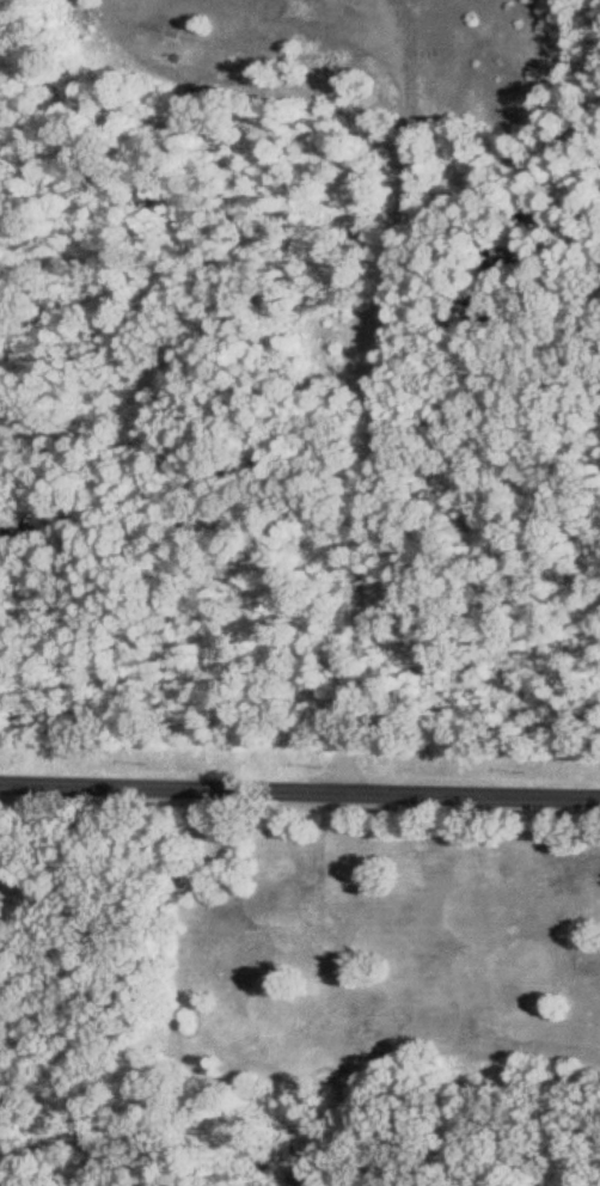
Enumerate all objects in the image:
road: (300, 787)

